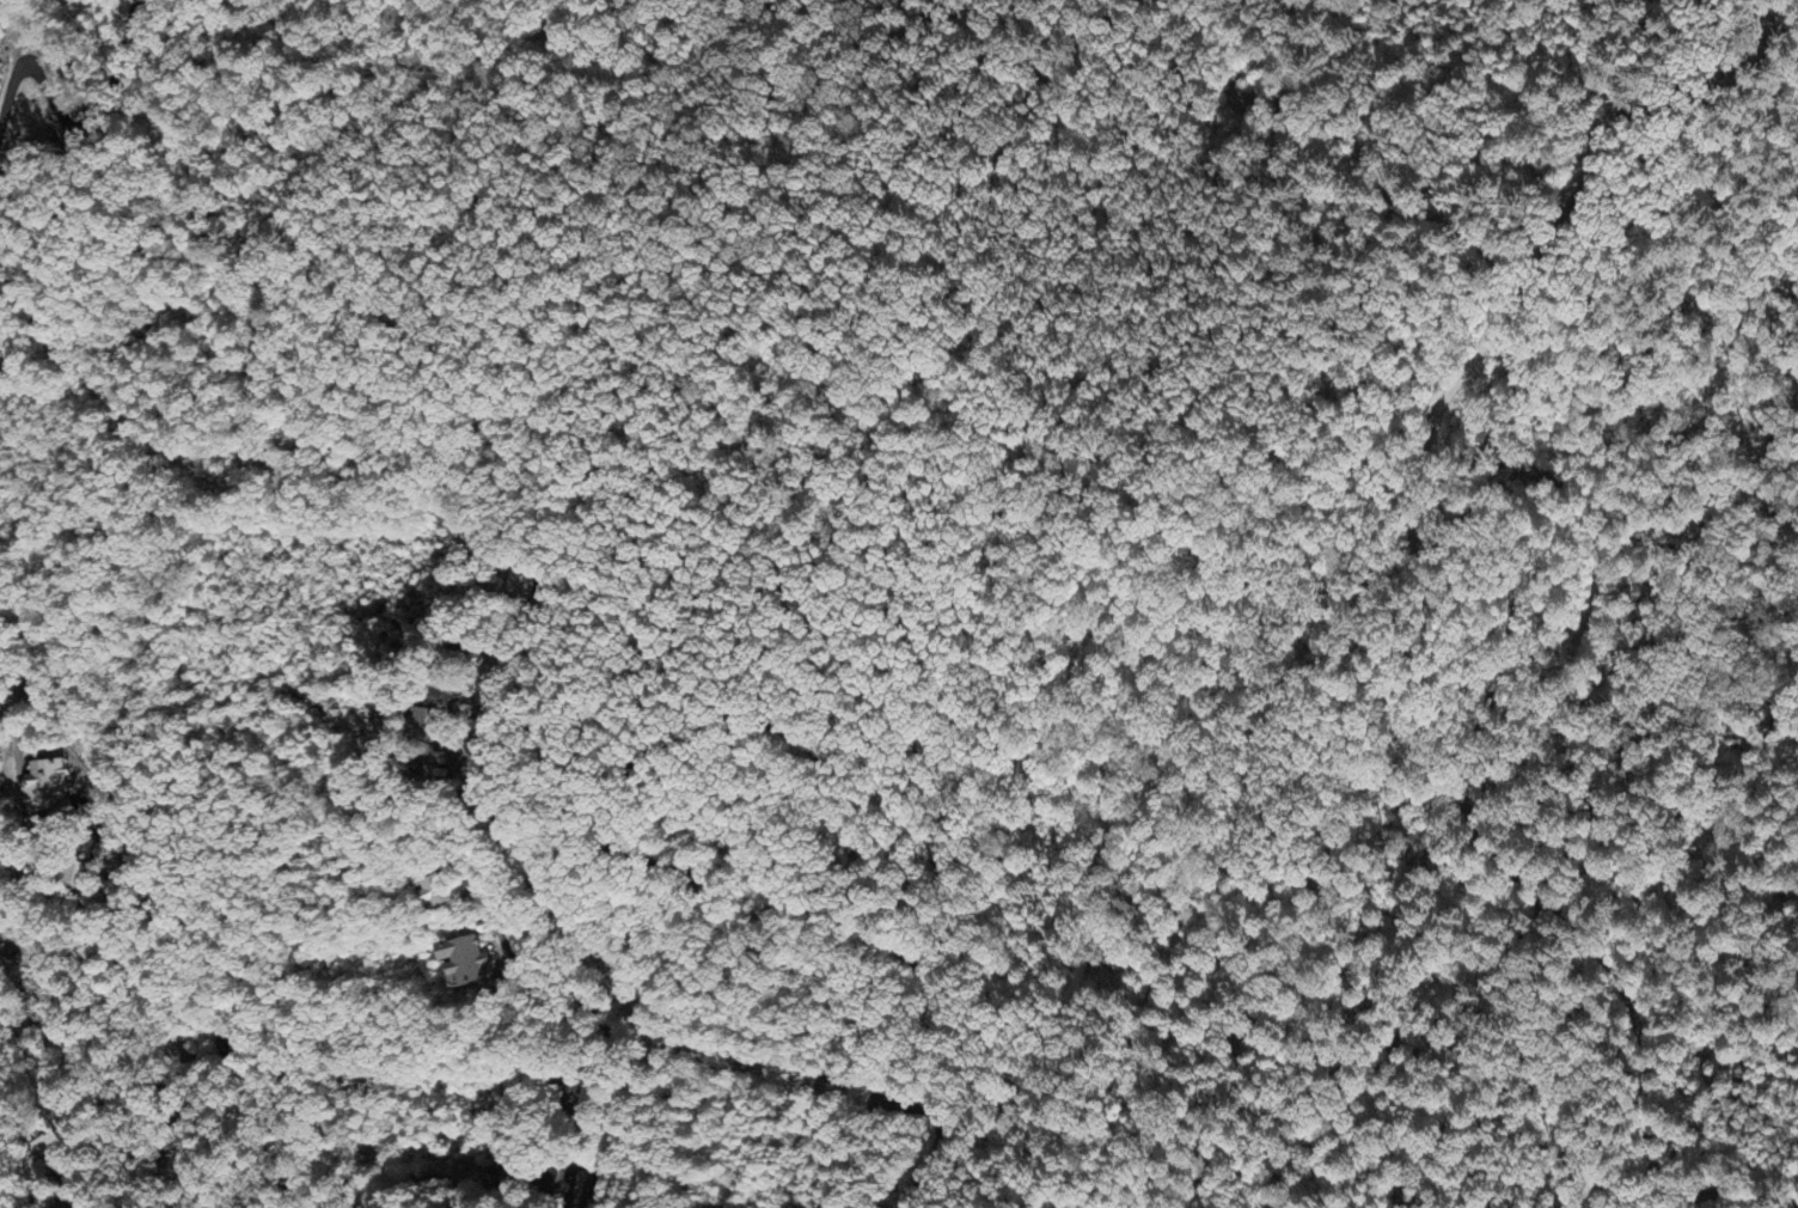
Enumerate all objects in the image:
road: (1089, 1)
road: (1486, 24)
road: (1424, 57)
road: (1519, 72)
road: (629, 108)
road: (1309, 133)
road: (1590, 176)
road: (1294, 191)
building: (426, 726)
road: (668, 754)
building: (47, 788)
road: (49, 794)
road: (1466, 809)
road: (455, 825)
building: (74, 876)
building: (440, 892)
building: (469, 963)
road: (214, 1108)
road: (66, 1134)
building: (557, 1189)

